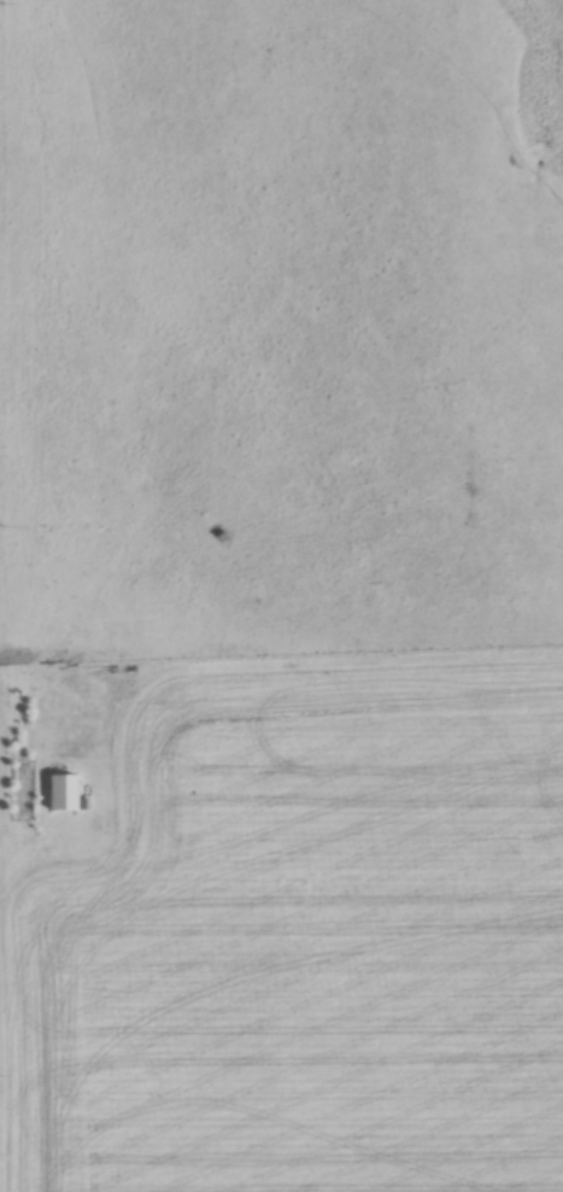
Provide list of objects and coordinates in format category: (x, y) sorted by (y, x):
building: (102, 826)

